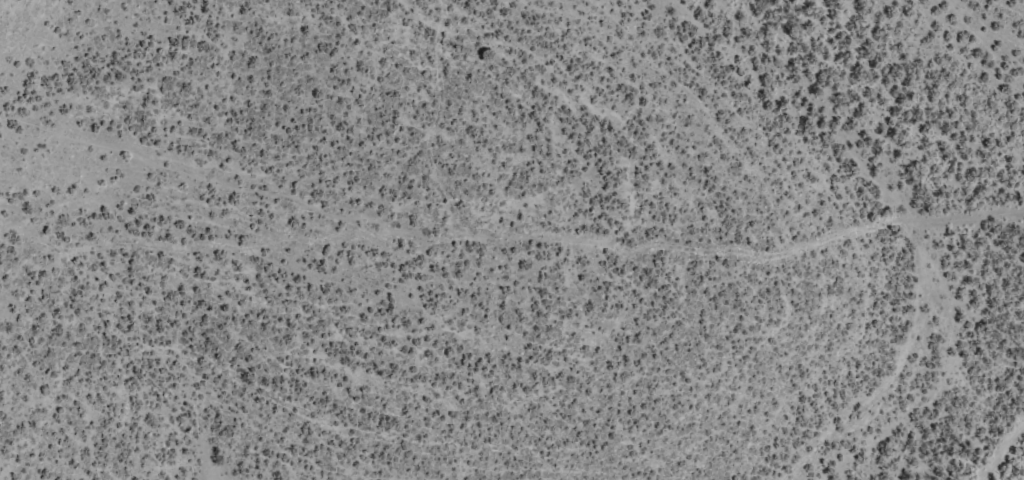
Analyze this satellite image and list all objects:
road: (1005, 460)

